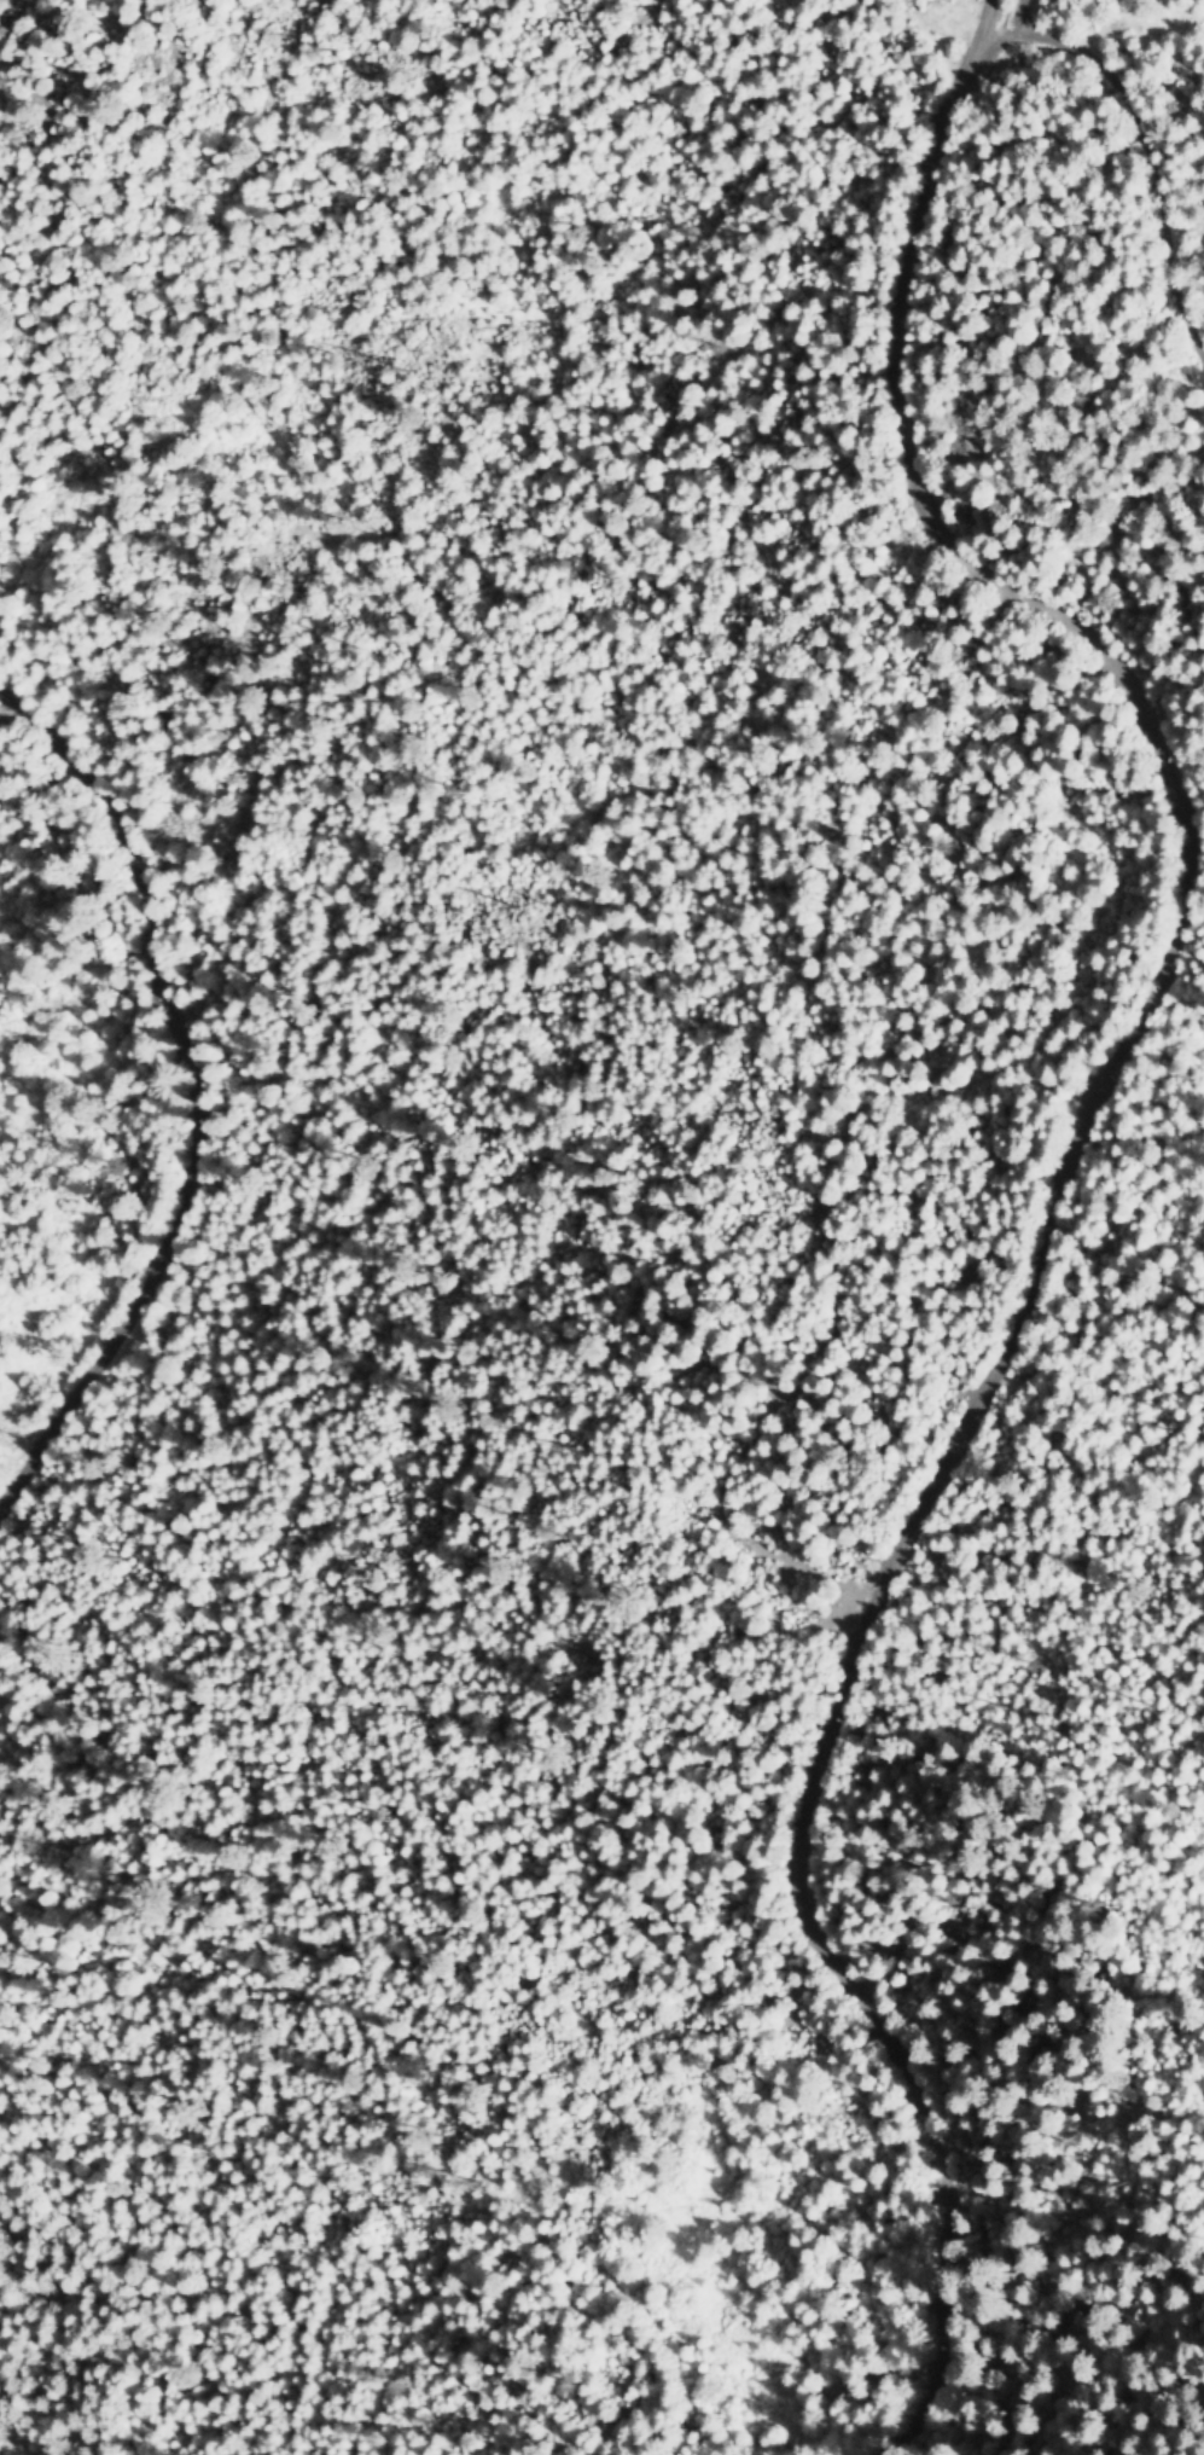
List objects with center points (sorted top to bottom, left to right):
road: (1011, 18)
road: (1142, 147)
road: (179, 1096)
road: (1052, 1209)
road: (1, 1492)

